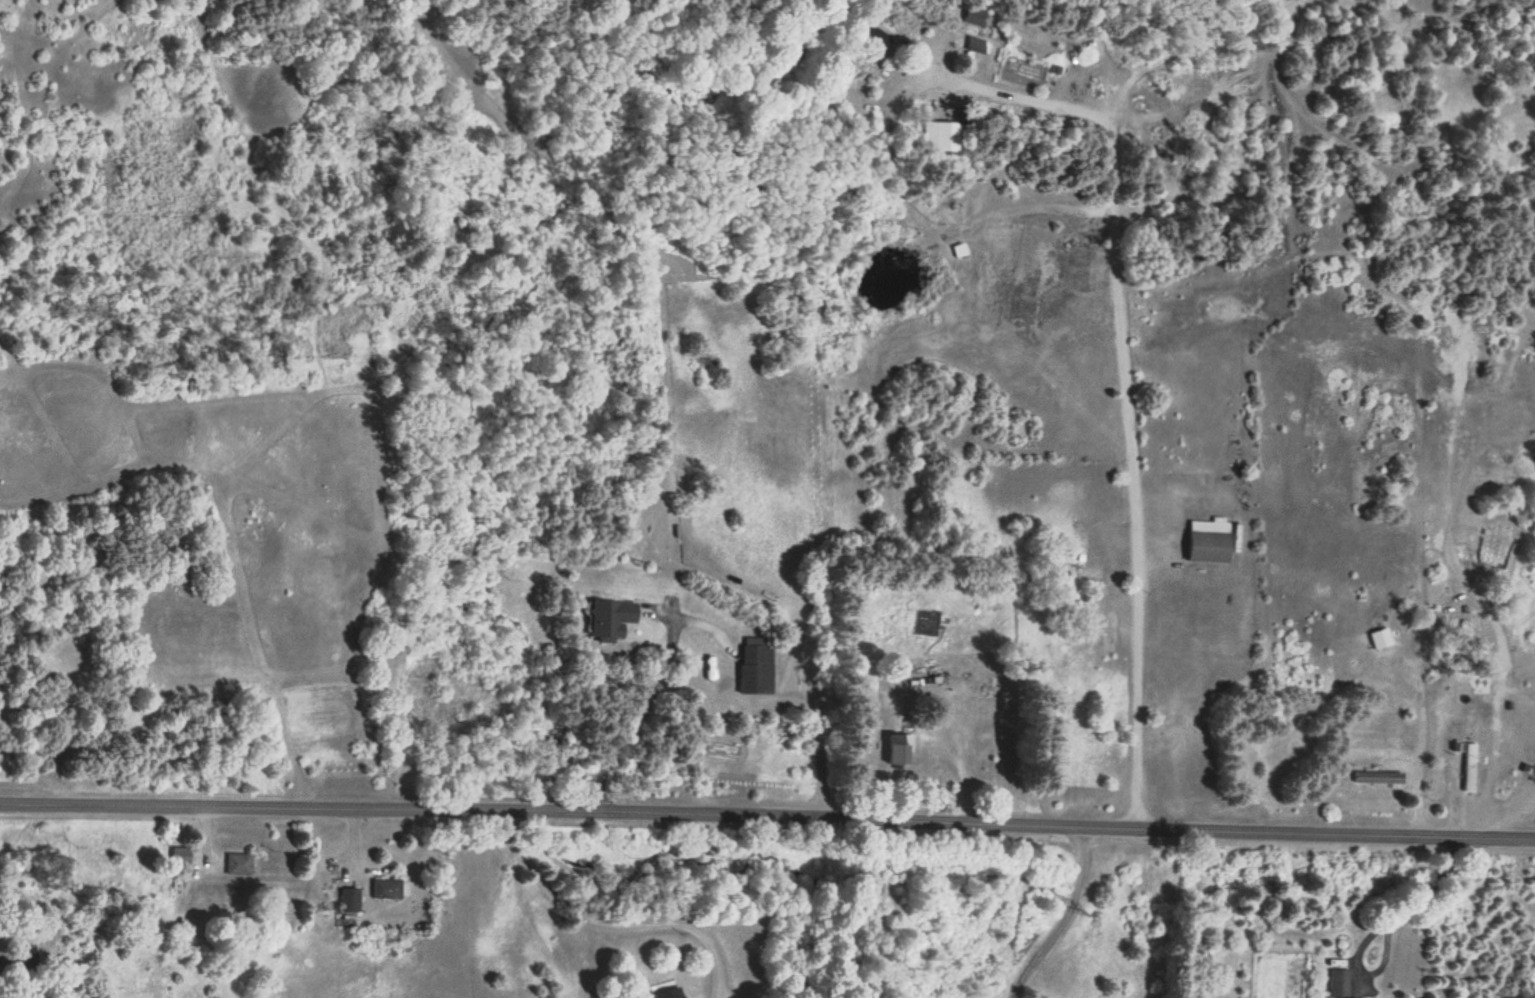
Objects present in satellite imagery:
building: (975, 13)
building: (871, 36)
building: (974, 44)
building: (935, 135)
road: (1117, 362)
building: (1208, 540)
building: (1088, 572)
building: (609, 618)
building: (1379, 638)
building: (755, 665)
building: (897, 748)
building: (1468, 766)
building: (1528, 770)
building: (1378, 777)
road: (767, 815)
building: (180, 855)
building: (238, 863)
building: (387, 888)
building: (349, 903)
building: (20, 962)
building: (1338, 983)
building: (669, 992)

